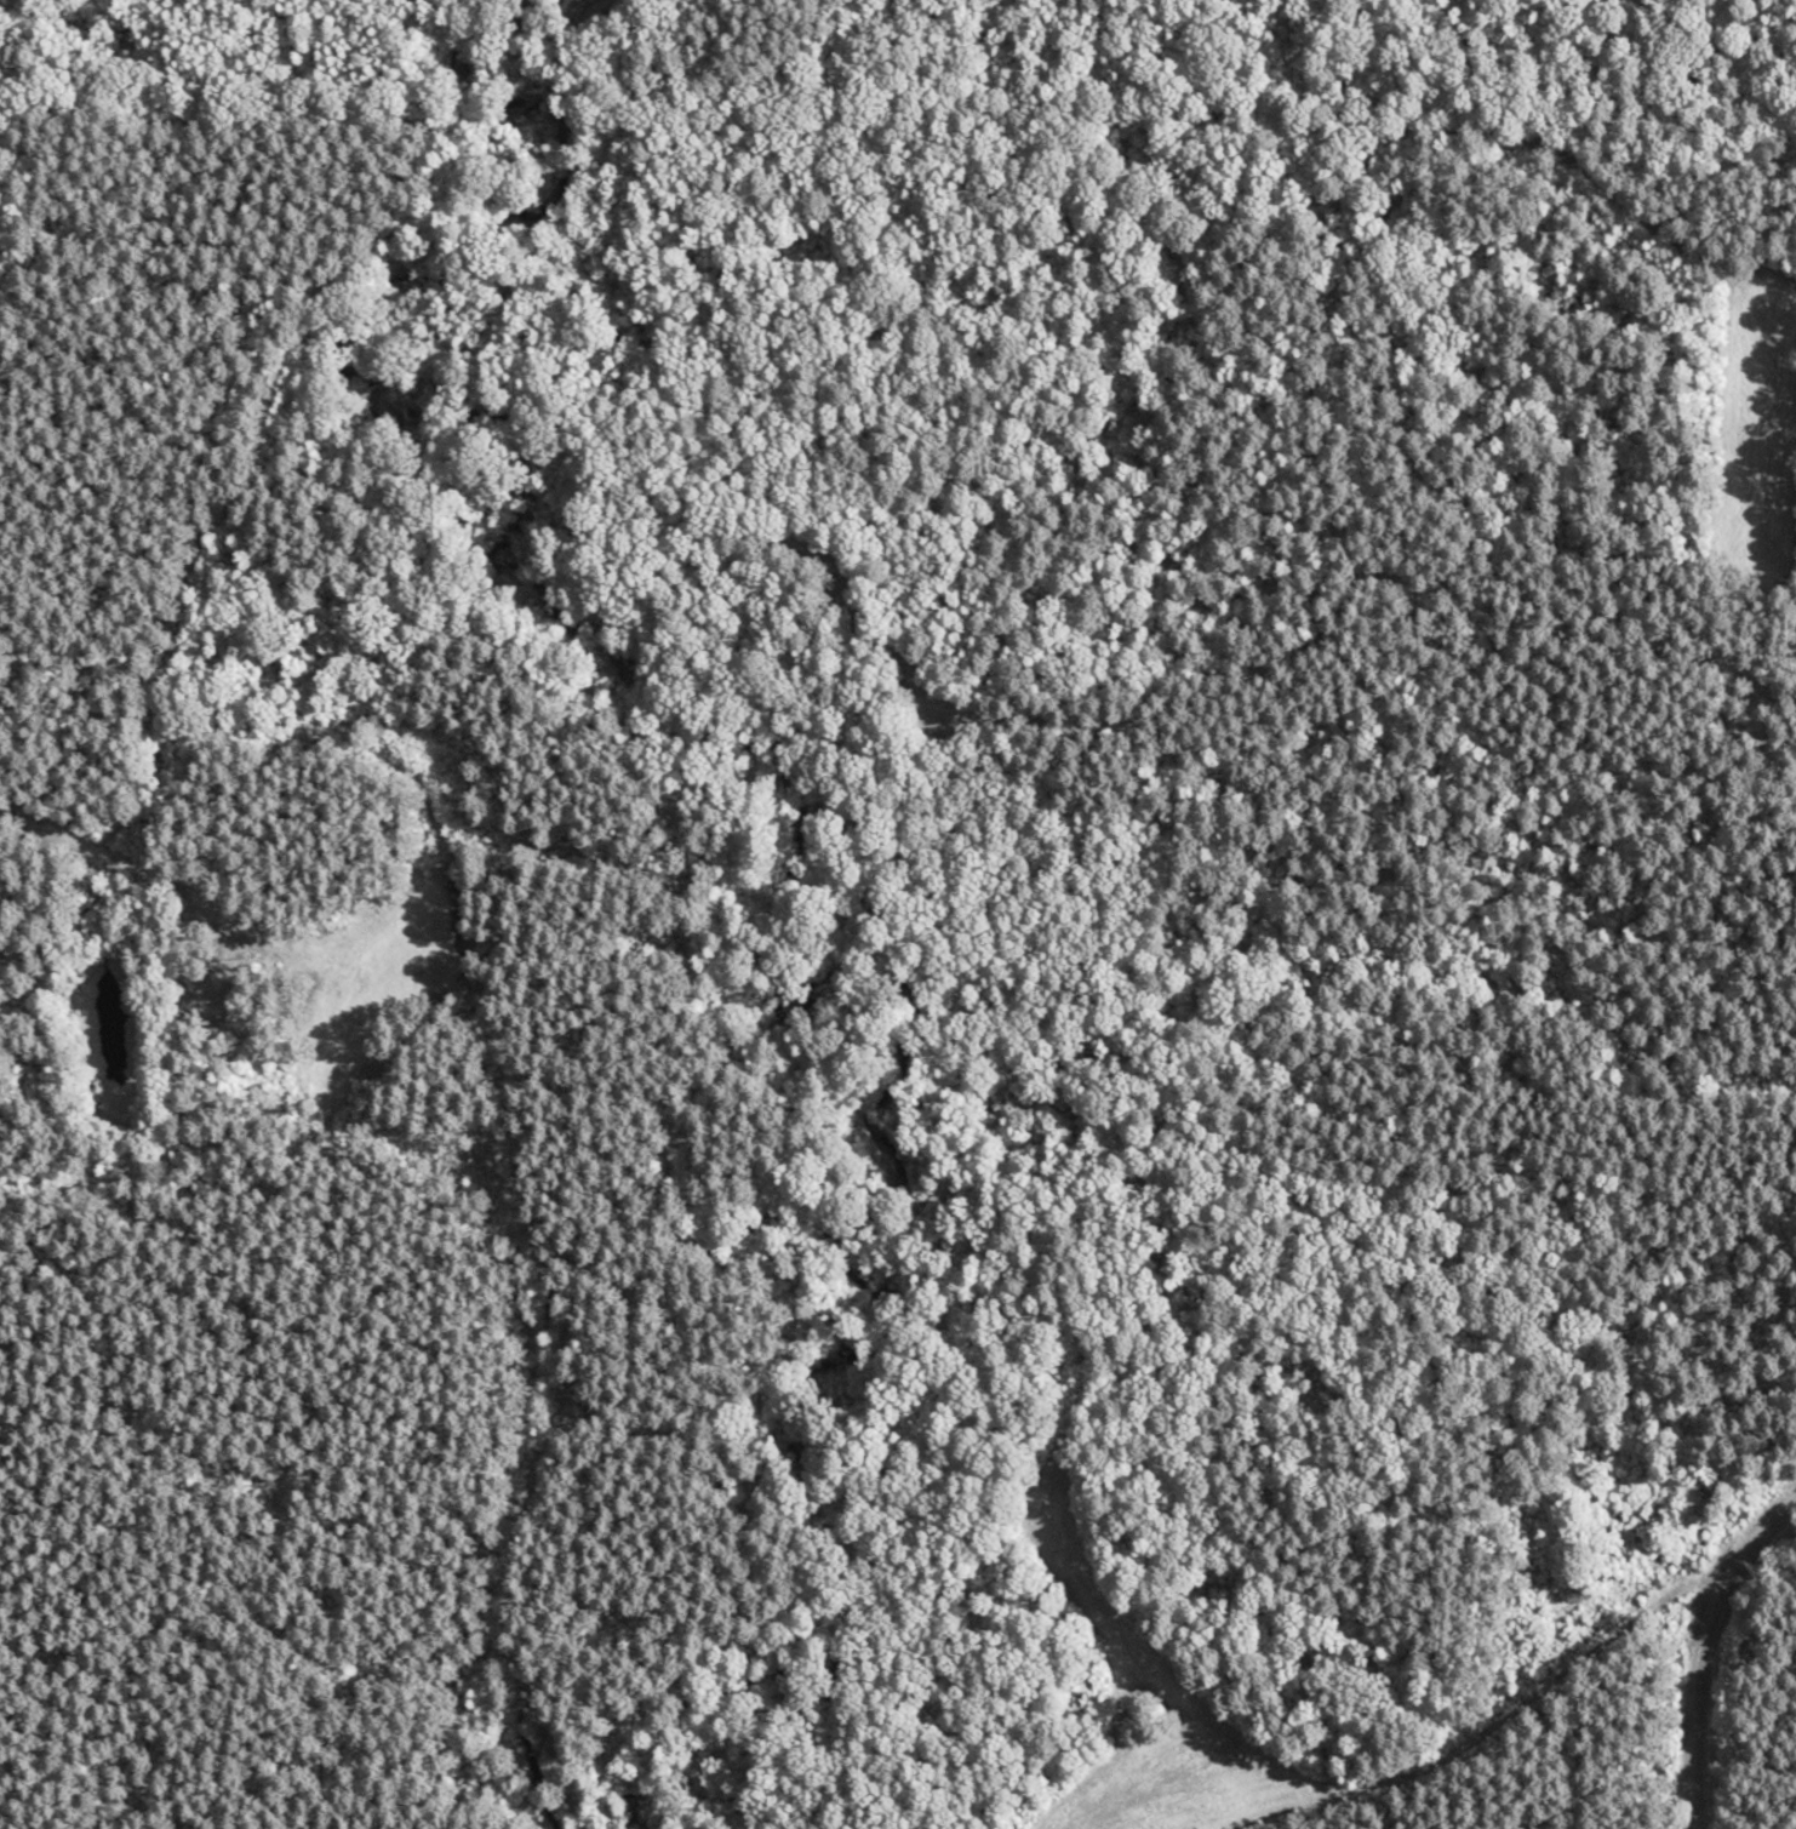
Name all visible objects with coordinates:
road: (1666, 1628)

